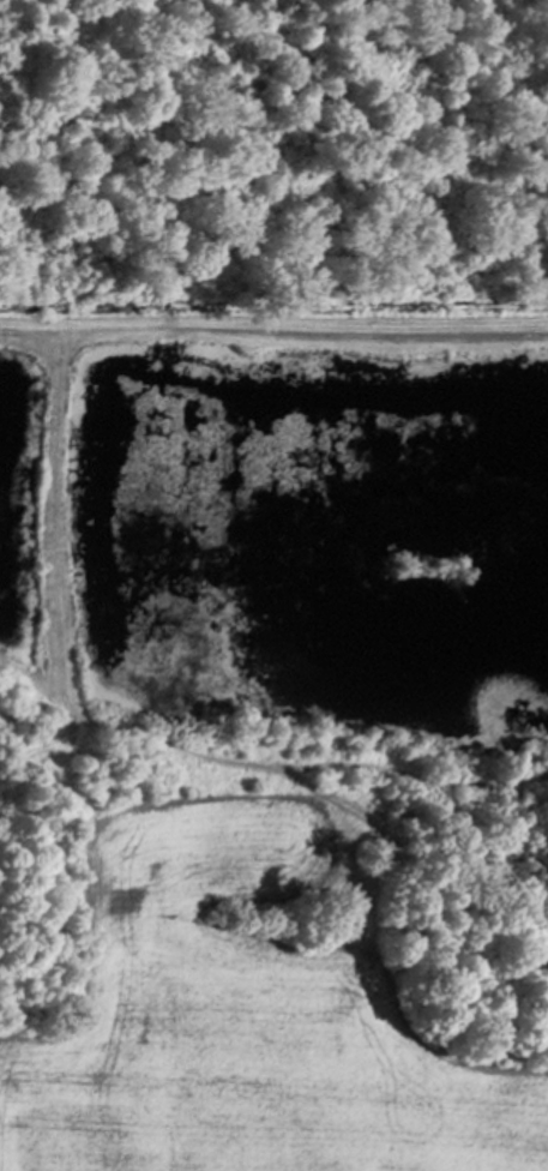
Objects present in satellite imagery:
crop: (246, 1021)

